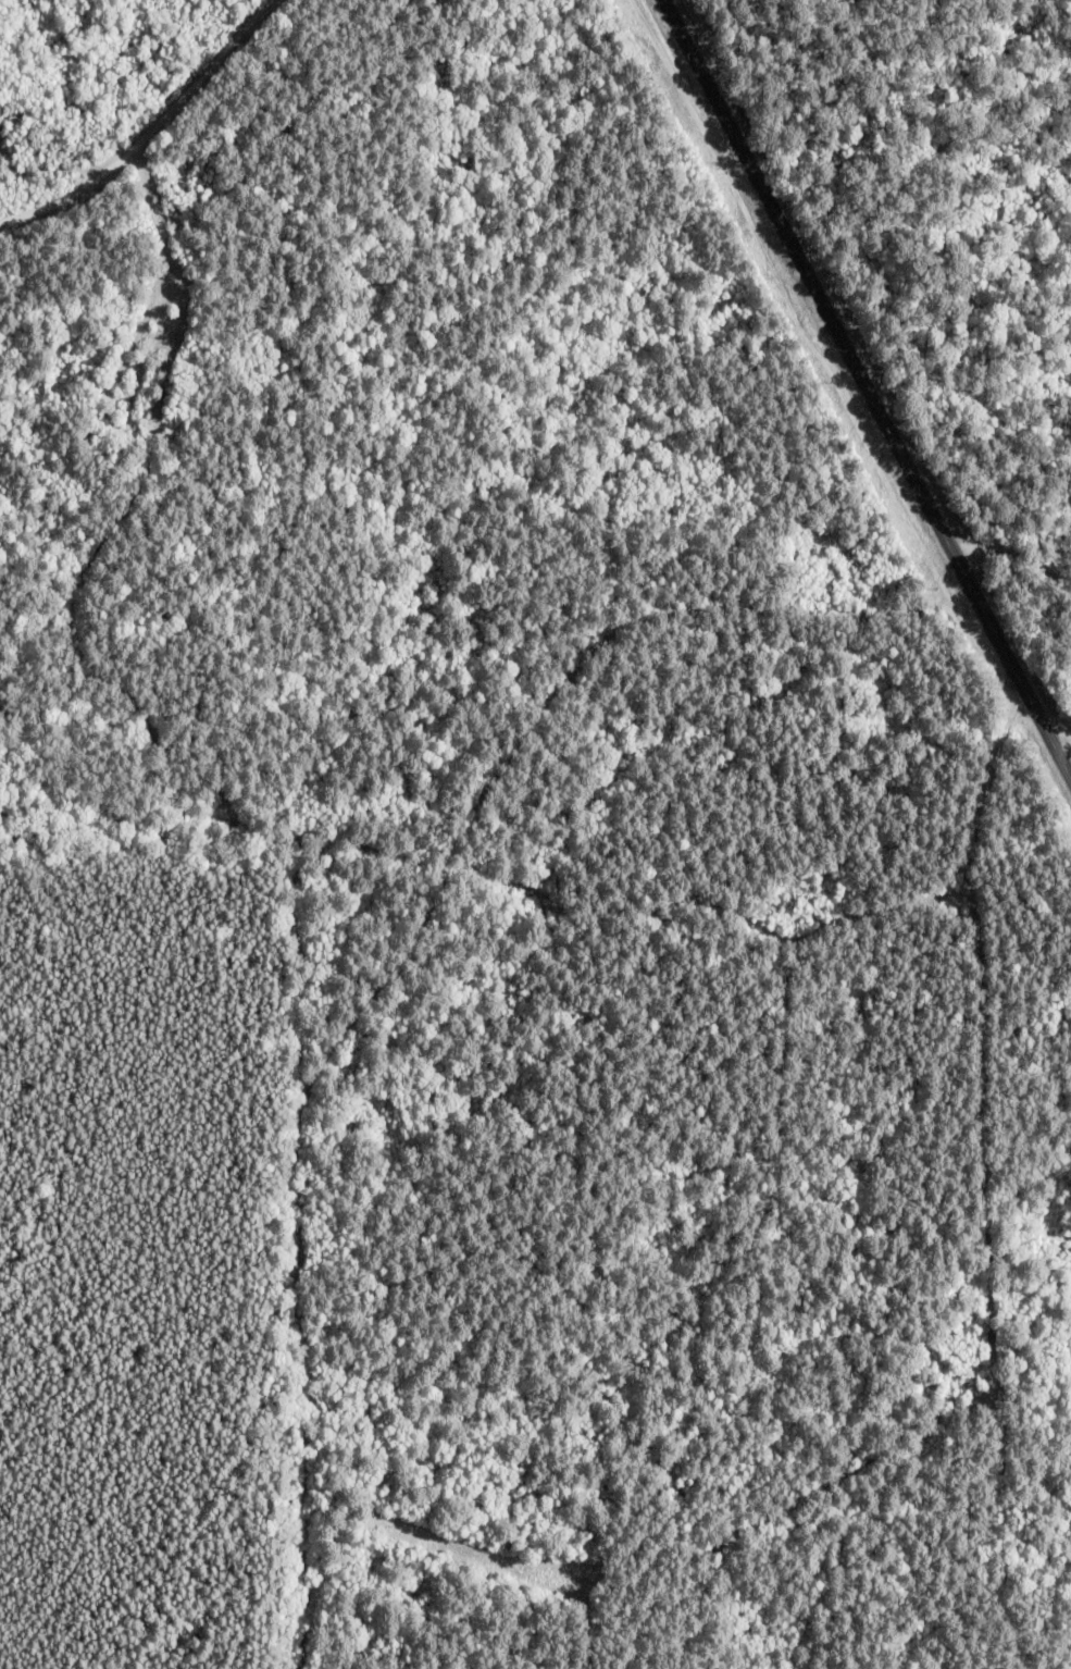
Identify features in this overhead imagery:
road: (147, 131)
road: (867, 387)
road: (1014, 549)
road: (1062, 740)

